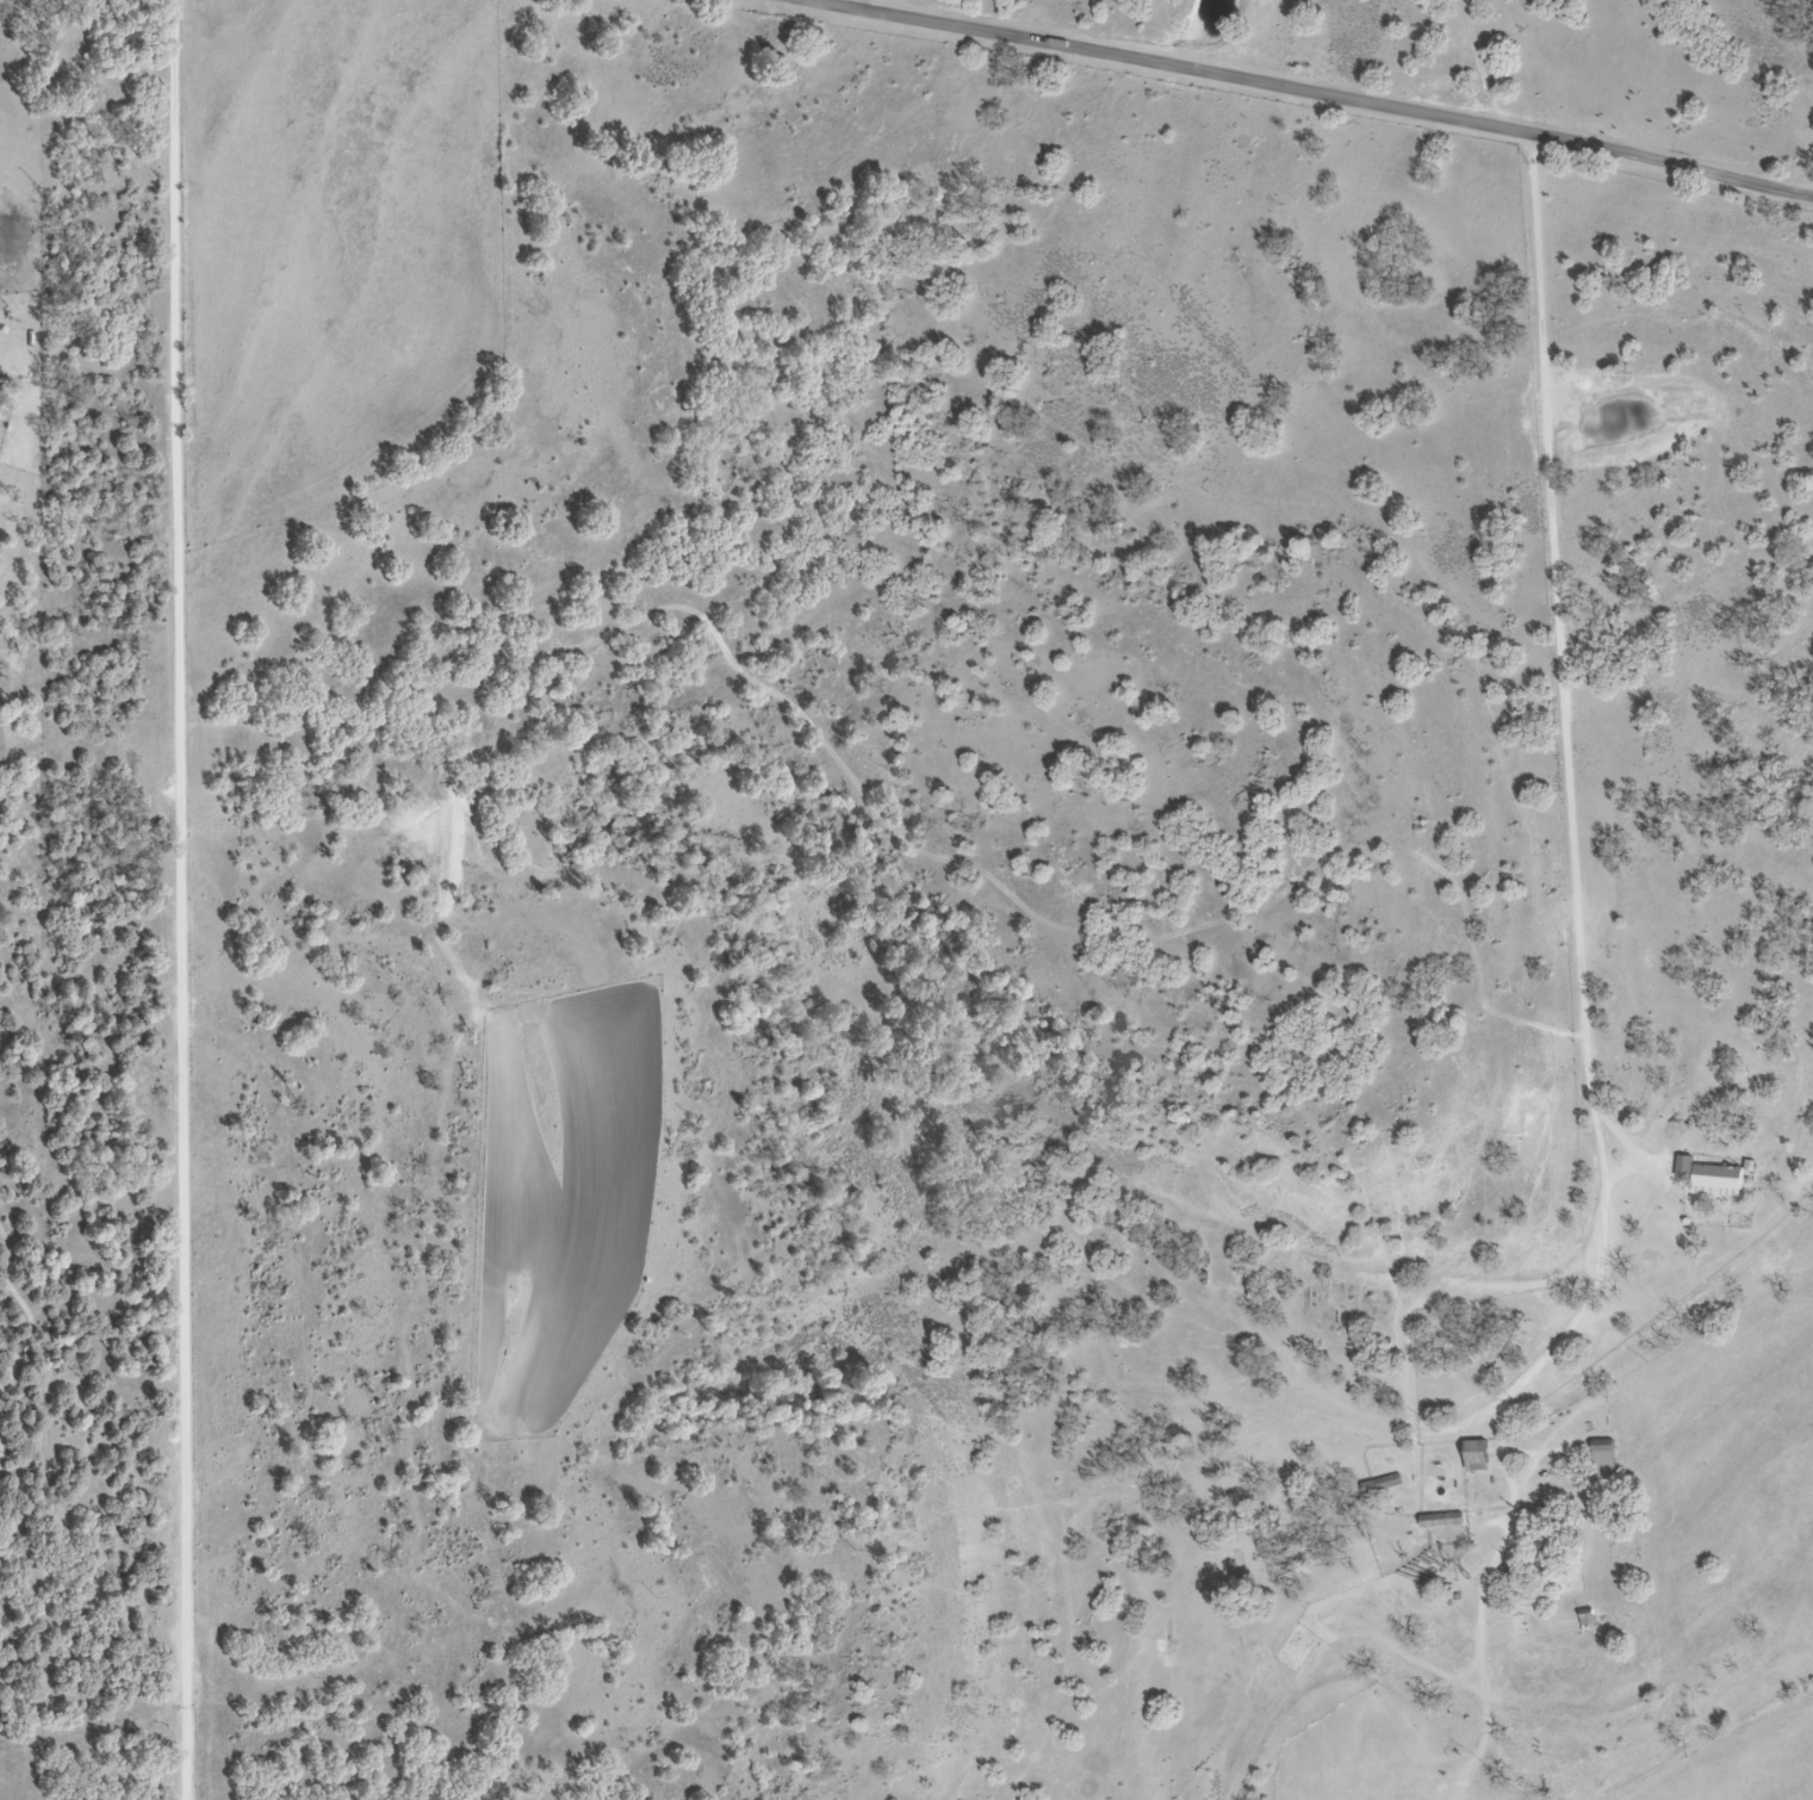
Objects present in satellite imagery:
road: (1323, 93)
road: (180, 899)
building: (1707, 1178)
building: (1474, 1458)
building: (1602, 1463)
building: (1383, 1485)
building: (1546, 1559)

